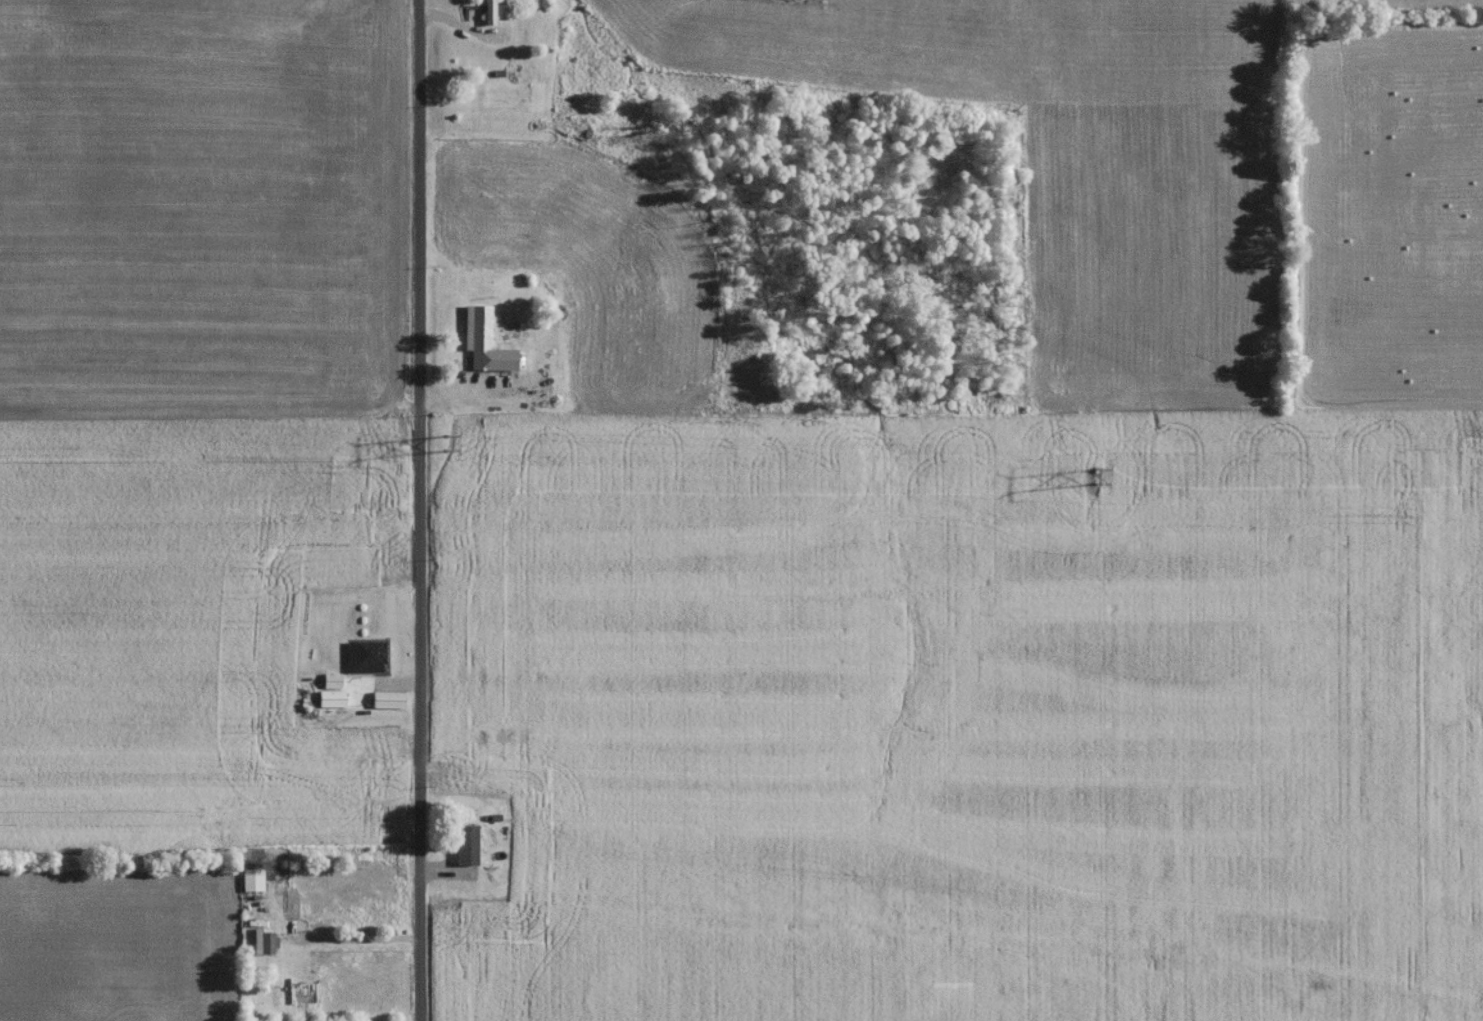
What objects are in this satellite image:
building: (486, 14)
building: (474, 331)
building: (481, 366)
power tower: (443, 446)
power tower: (1091, 479)
road: (422, 510)
building: (364, 656)
building: (327, 686)
building: (327, 703)
building: (384, 705)
building: (461, 847)
building: (250, 924)
road: (355, 941)
building: (262, 948)

